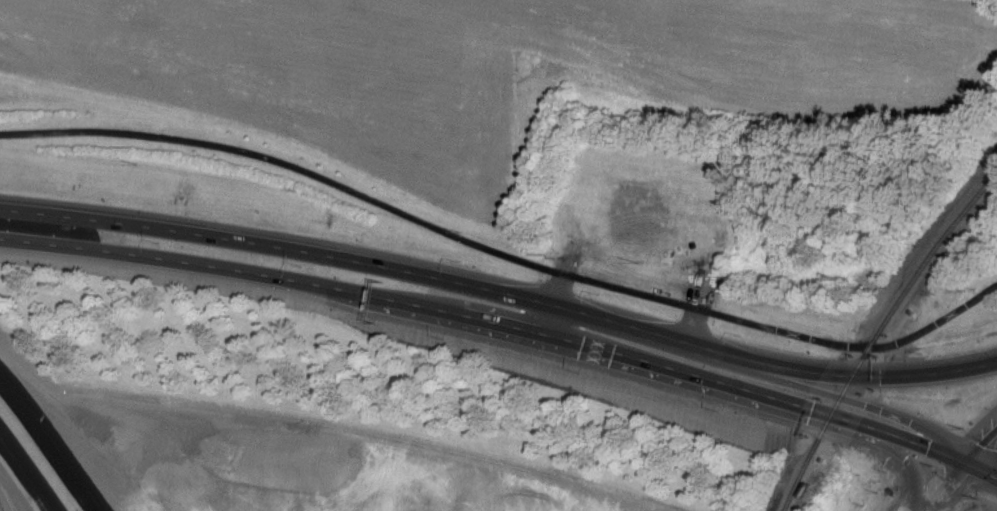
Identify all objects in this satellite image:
road: (501, 253)
railway: (877, 334)
road: (978, 438)
road: (51, 441)
road: (28, 471)
road: (938, 483)

